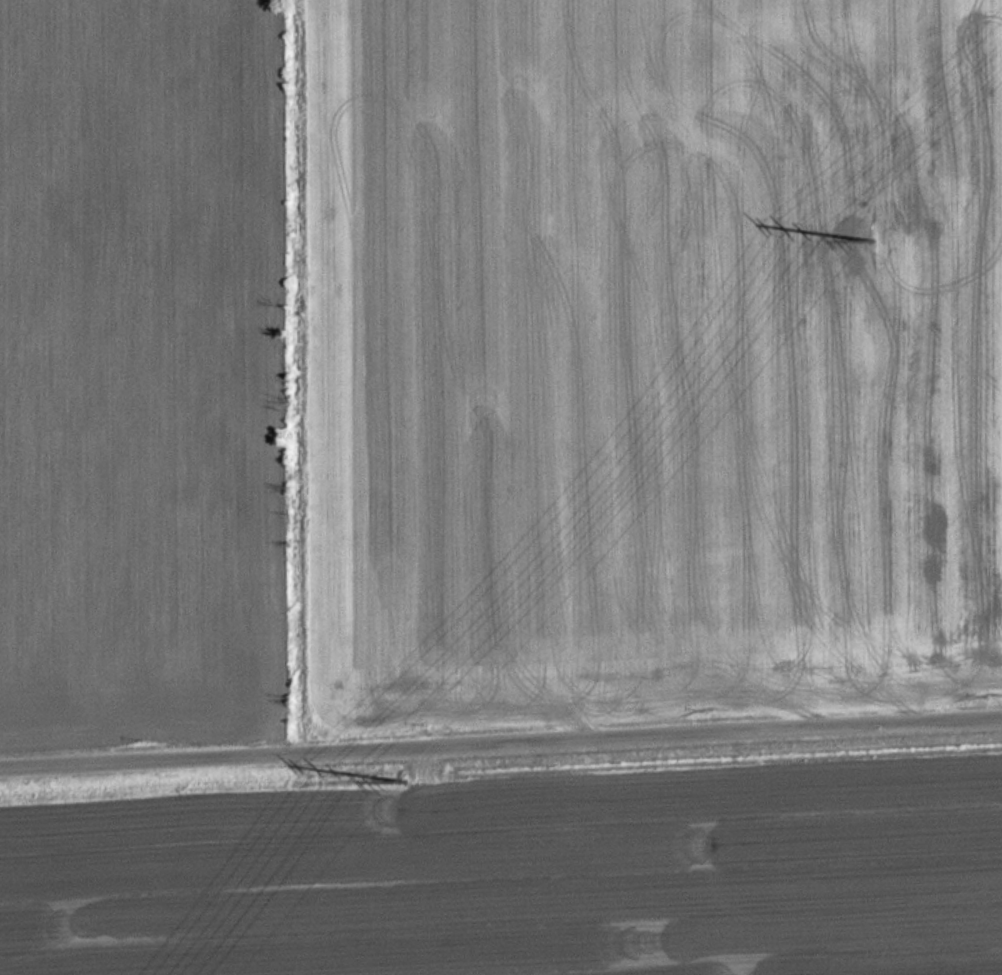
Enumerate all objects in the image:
power tower: (879, 241)
road: (500, 742)
power tower: (413, 779)

